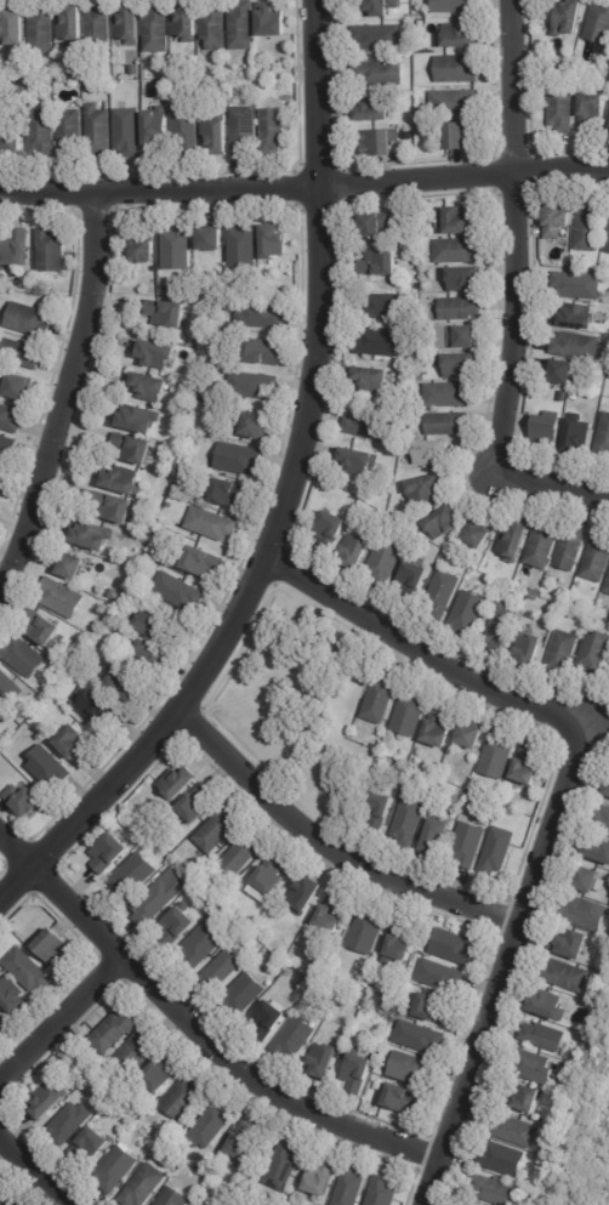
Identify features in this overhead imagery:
building: (454, 6)
building: (385, 7)
building: (570, 17)
building: (271, 21)
building: (187, 22)
building: (598, 22)
building: (129, 24)
building: (73, 25)
building: (215, 25)
building: (243, 27)
building: (15, 28)
building: (99, 28)
building: (158, 28)
building: (42, 29)
building: (459, 35)
building: (380, 36)
building: (457, 68)
building: (135, 69)
building: (381, 73)
building: (80, 76)
building: (581, 80)
building: (164, 87)
building: (18, 91)
building: (456, 102)
building: (376, 108)
building: (563, 108)
building: (592, 112)
building: (156, 127)
building: (188, 129)
building: (273, 129)
building: (244, 130)
building: (98, 131)
building: (42, 132)
building: (69, 132)
building: (129, 132)
building: (463, 135)
building: (217, 136)
building: (380, 142)
building: (11, 143)
road: (304, 184)
building: (463, 221)
building: (557, 221)
building: (379, 224)
building: (590, 227)
building: (211, 239)
building: (274, 241)
building: (608, 245)
building: (244, 246)
building: (177, 248)
building: (17, 249)
building: (51, 250)
building: (143, 250)
building: (459, 251)
building: (380, 265)
building: (466, 278)
building: (579, 285)
building: (40, 291)
road: (513, 296)
building: (387, 307)
building: (461, 308)
building: (167, 313)
building: (263, 316)
building: (581, 317)
building: (29, 319)
building: (465, 336)
building: (379, 342)
building: (577, 346)
building: (263, 352)
building: (19, 354)
building: (158, 354)
building: (461, 364)
building: (563, 371)
building: (374, 379)
building: (254, 385)
building: (21, 387)
building: (150, 387)
building: (198, 390)
road: (66, 392)
building: (449, 396)
building: (573, 396)
building: (10, 419)
building: (138, 421)
building: (448, 424)
building: (258, 426)
building: (370, 426)
building: (550, 430)
building: (422, 434)
building: (577, 436)
building: (603, 437)
building: (176, 439)
building: (161, 444)
building: (135, 448)
building: (7, 449)
building: (429, 451)
building: (240, 459)
building: (360, 461)
building: (184, 470)
building: (124, 481)
building: (1, 484)
building: (426, 489)
building: (229, 493)
road: (286, 499)
building: (115, 507)
building: (443, 522)
building: (211, 524)
building: (332, 528)
building: (479, 535)
building: (92, 536)
building: (514, 544)
building: (543, 545)
building: (570, 548)
building: (359, 551)
building: (597, 558)
building: (204, 562)
building: (386, 563)
building: (74, 565)
building: (155, 565)
building: (412, 579)
building: (608, 589)
building: (178, 592)
building: (112, 593)
building: (443, 593)
building: (536, 596)
building: (62, 598)
building: (468, 614)
building: (153, 625)
building: (503, 627)
building: (44, 630)
building: (531, 652)
building: (563, 655)
building: (594, 655)
building: (22, 657)
building: (154, 658)
building: (125, 684)
building: (8, 689)
park: (280, 695)
building: (381, 699)
building: (96, 707)
building: (1, 712)
building: (411, 714)
building: (439, 728)
building: (472, 737)
building: (75, 744)
building: (499, 756)
building: (527, 765)
building: (49, 769)
building: (180, 785)
building: (607, 790)
road: (567, 797)
building: (25, 802)
building: (198, 803)
building: (382, 809)
building: (602, 820)
building: (409, 822)
building: (218, 831)
building: (436, 839)
building: (469, 845)
road: (331, 849)
building: (497, 852)
building: (598, 852)
building: (110, 854)
building: (243, 854)
building: (272, 875)
building: (135, 876)
building: (193, 882)
building: (592, 882)
building: (306, 897)
building: (159, 900)
building: (215, 903)
building: (332, 914)
building: (586, 915)
building: (178, 925)
building: (368, 931)
building: (203, 945)
building: (400, 945)
building: (573, 945)
building: (53, 948)
building: (455, 949)
building: (28, 972)
building: (221, 973)
building: (442, 977)
building: (567, 977)
building: (243, 996)
building: (12, 997)
building: (548, 1006)
building: (432, 1011)
building: (268, 1022)
road: (58, 1024)
building: (2, 1025)
building: (114, 1033)
road: (194, 1035)
building: (543, 1038)
building: (420, 1039)
building: (294, 1040)
building: (138, 1052)
building: (324, 1062)
building: (534, 1068)
building: (412, 1069)
building: (359, 1073)
building: (163, 1074)
building: (184, 1099)
building: (405, 1101)
building: (49, 1102)
building: (525, 1102)
building: (567, 1102)
building: (70, 1125)
building: (211, 1127)
building: (514, 1132)
building: (246, 1143)
building: (89, 1147)
building: (547, 1149)
building: (501, 1159)
building: (284, 1167)
building: (201, 1169)
building: (115, 1171)
road: (34, 1175)
building: (320, 1178)
building: (144, 1187)
building: (351, 1187)
building: (385, 1192)
building: (491, 1192)
building: (173, 1199)
building: (6, 1200)
building: (461, 1204)

